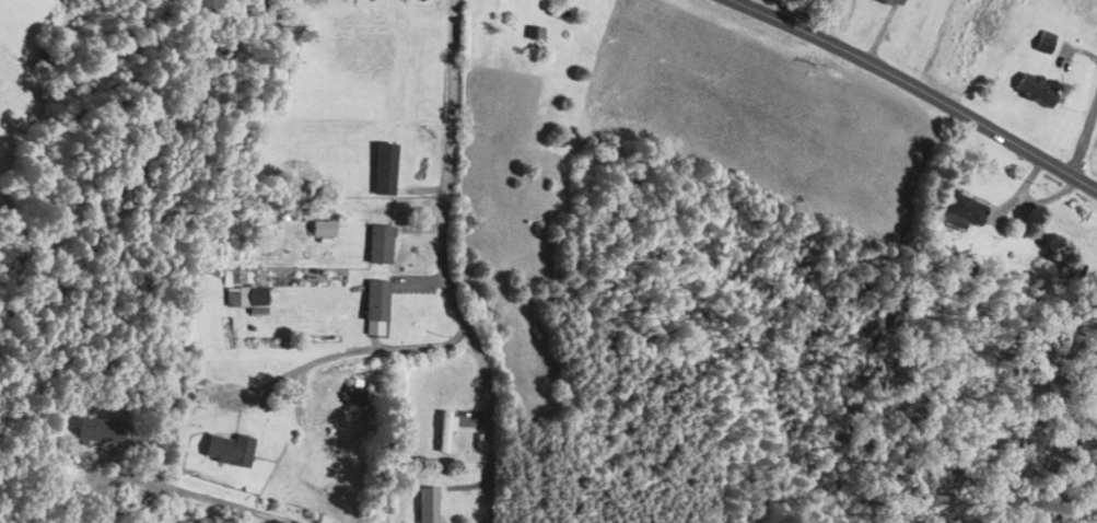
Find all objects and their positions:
building: (891, 2)
building: (1043, 44)
road: (919, 89)
building: (1035, 91)
road: (1085, 133)
building: (384, 168)
building: (964, 212)
building: (322, 229)
building: (378, 245)
road: (445, 266)
building: (247, 299)
building: (375, 309)
road: (353, 351)
building: (191, 382)
building: (445, 430)
building: (97, 431)
building: (226, 450)
road: (195, 496)
building: (427, 504)

